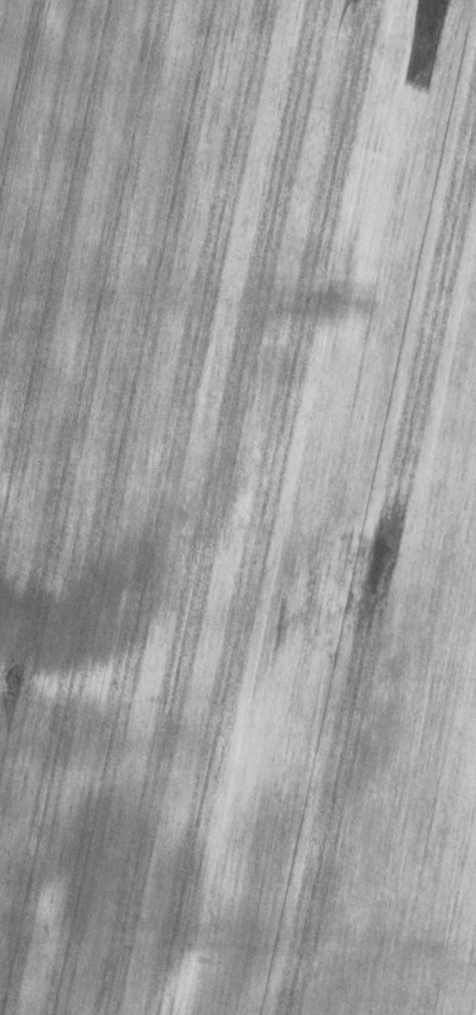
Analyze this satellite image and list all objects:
crop: (238, 507)

